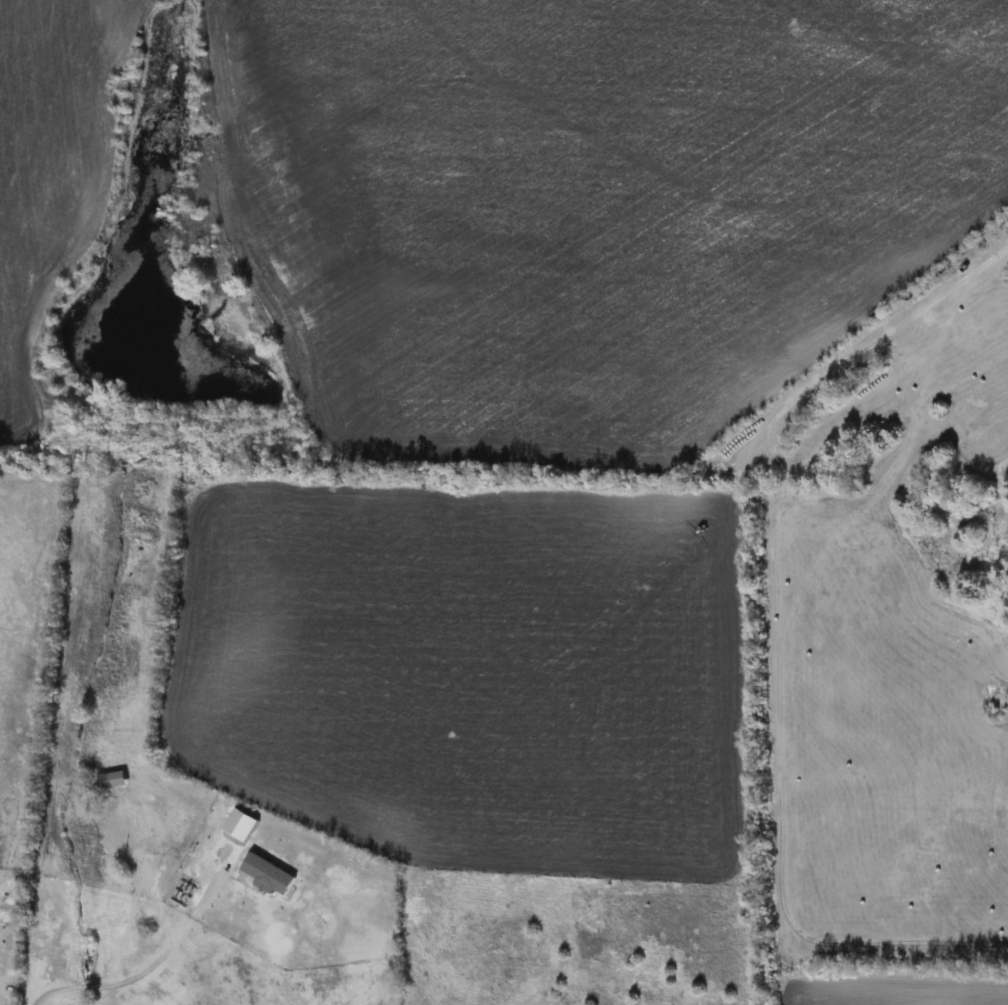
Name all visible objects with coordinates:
road: (148, 968)

